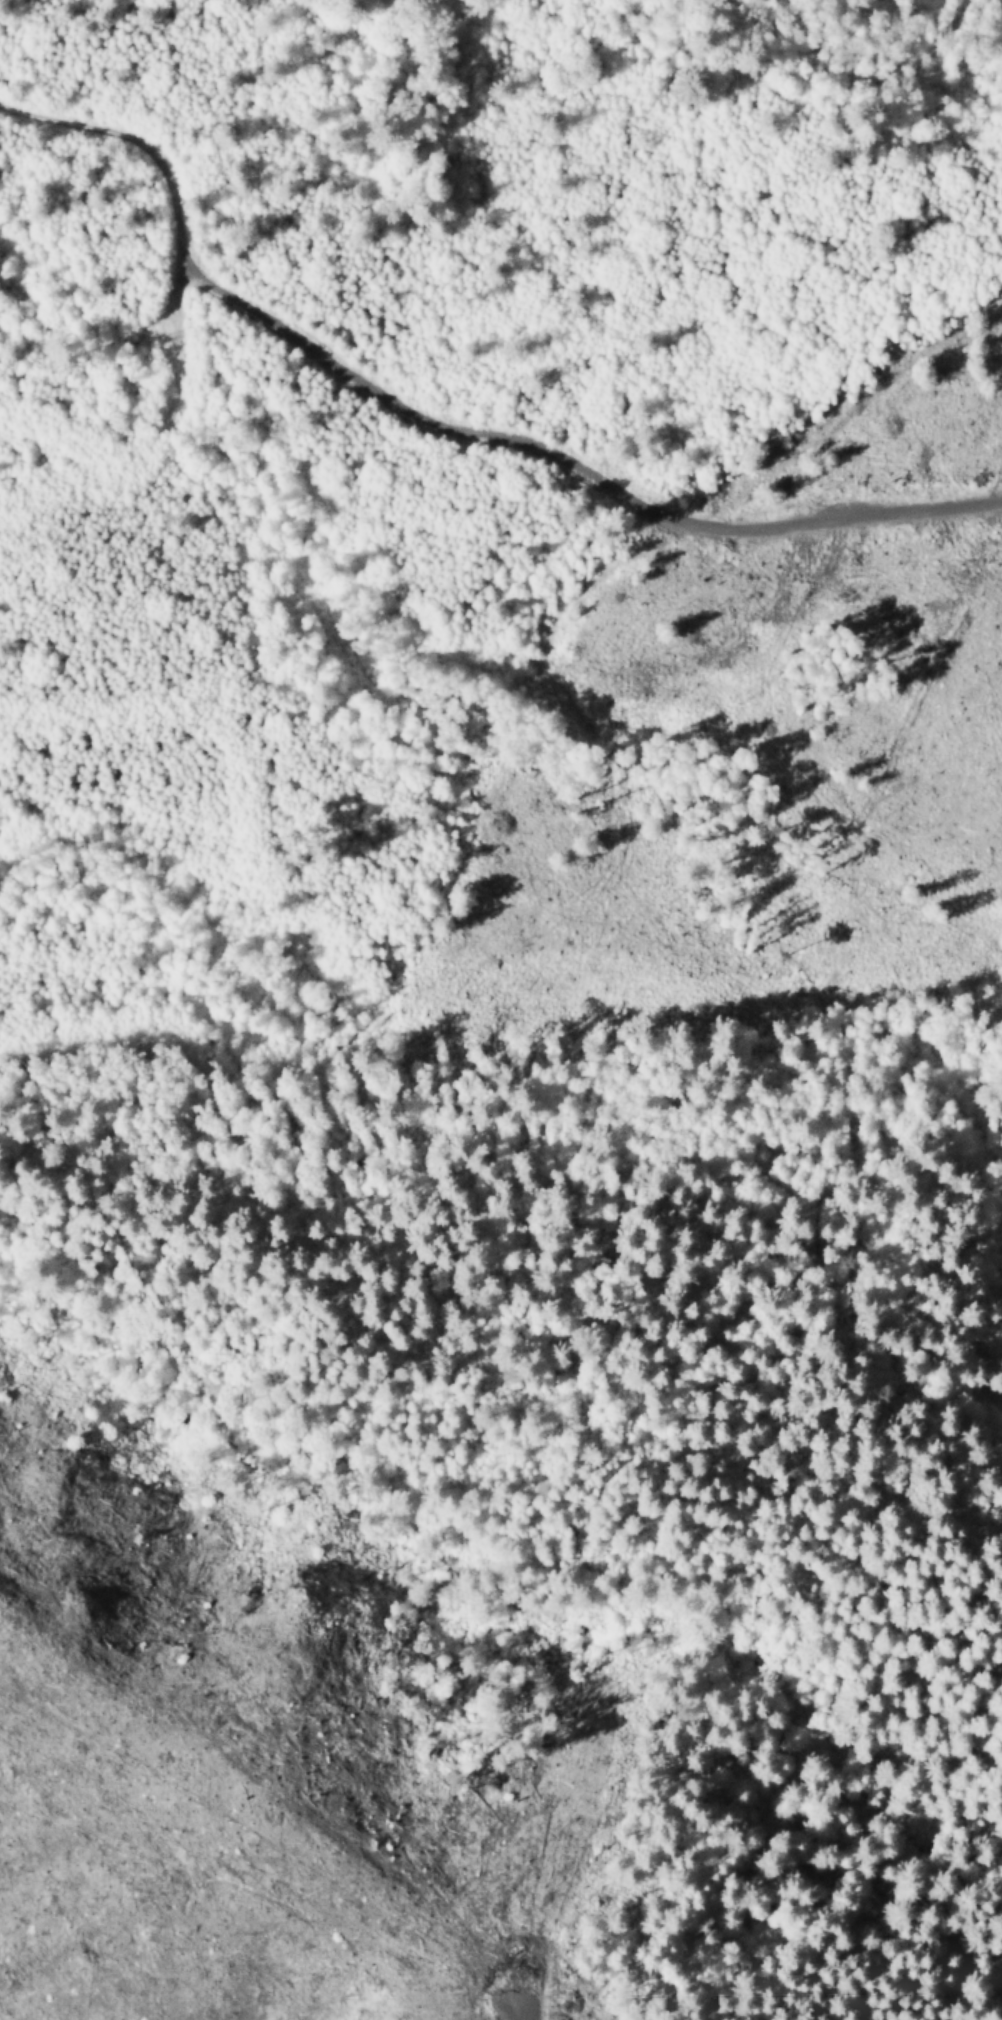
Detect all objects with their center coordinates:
road: (182, 247)

